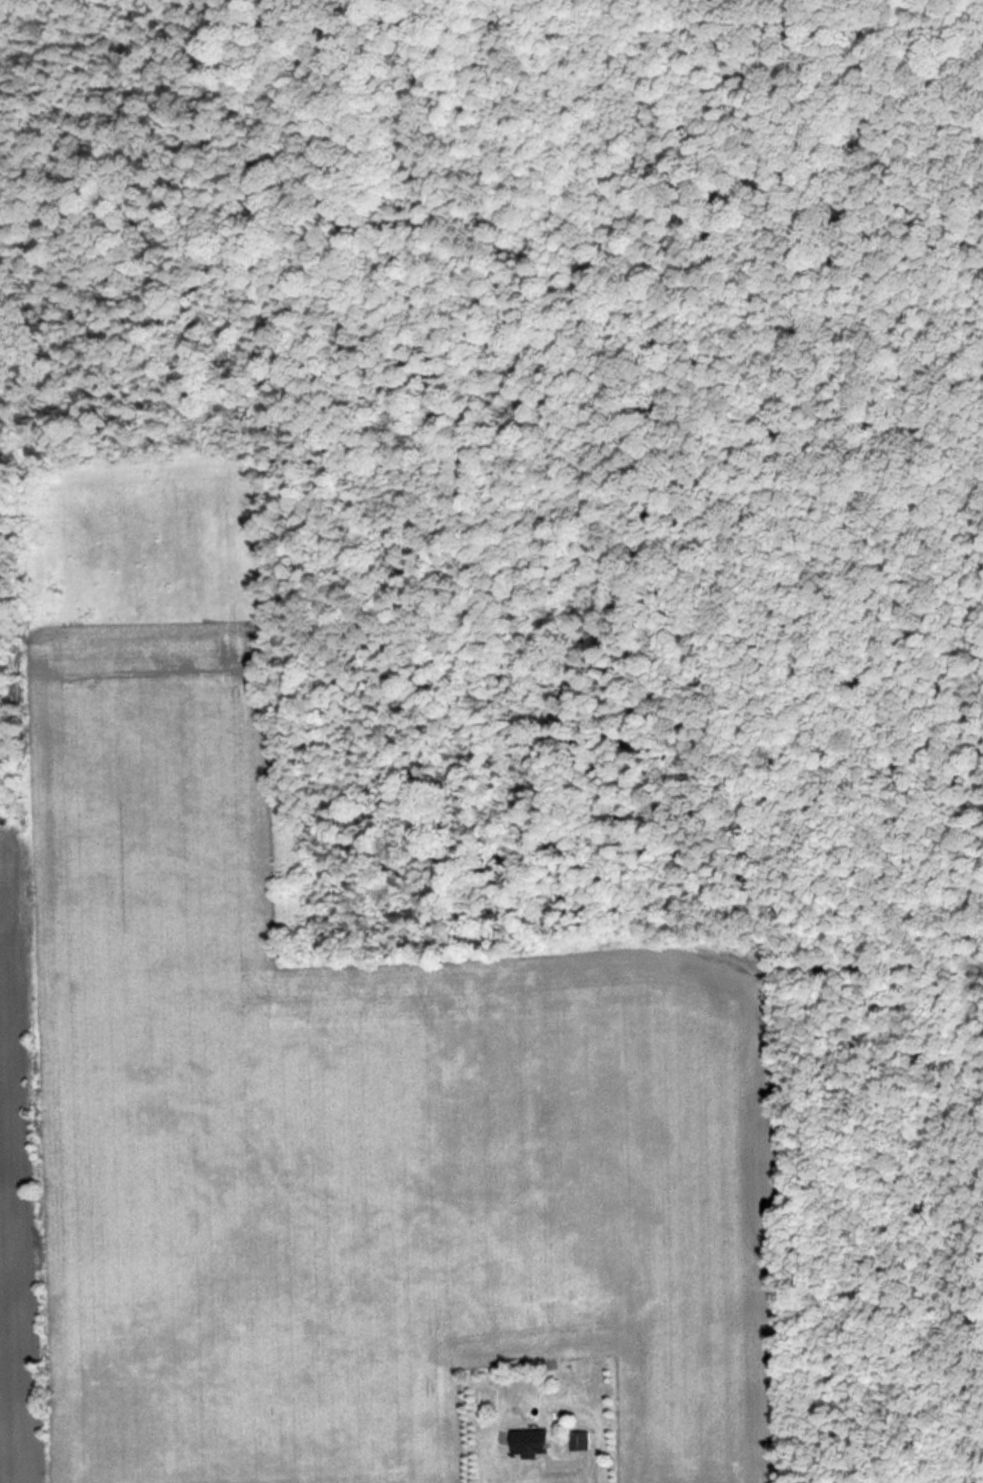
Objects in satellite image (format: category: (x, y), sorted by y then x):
building: (583, 1442)
building: (534, 1444)

